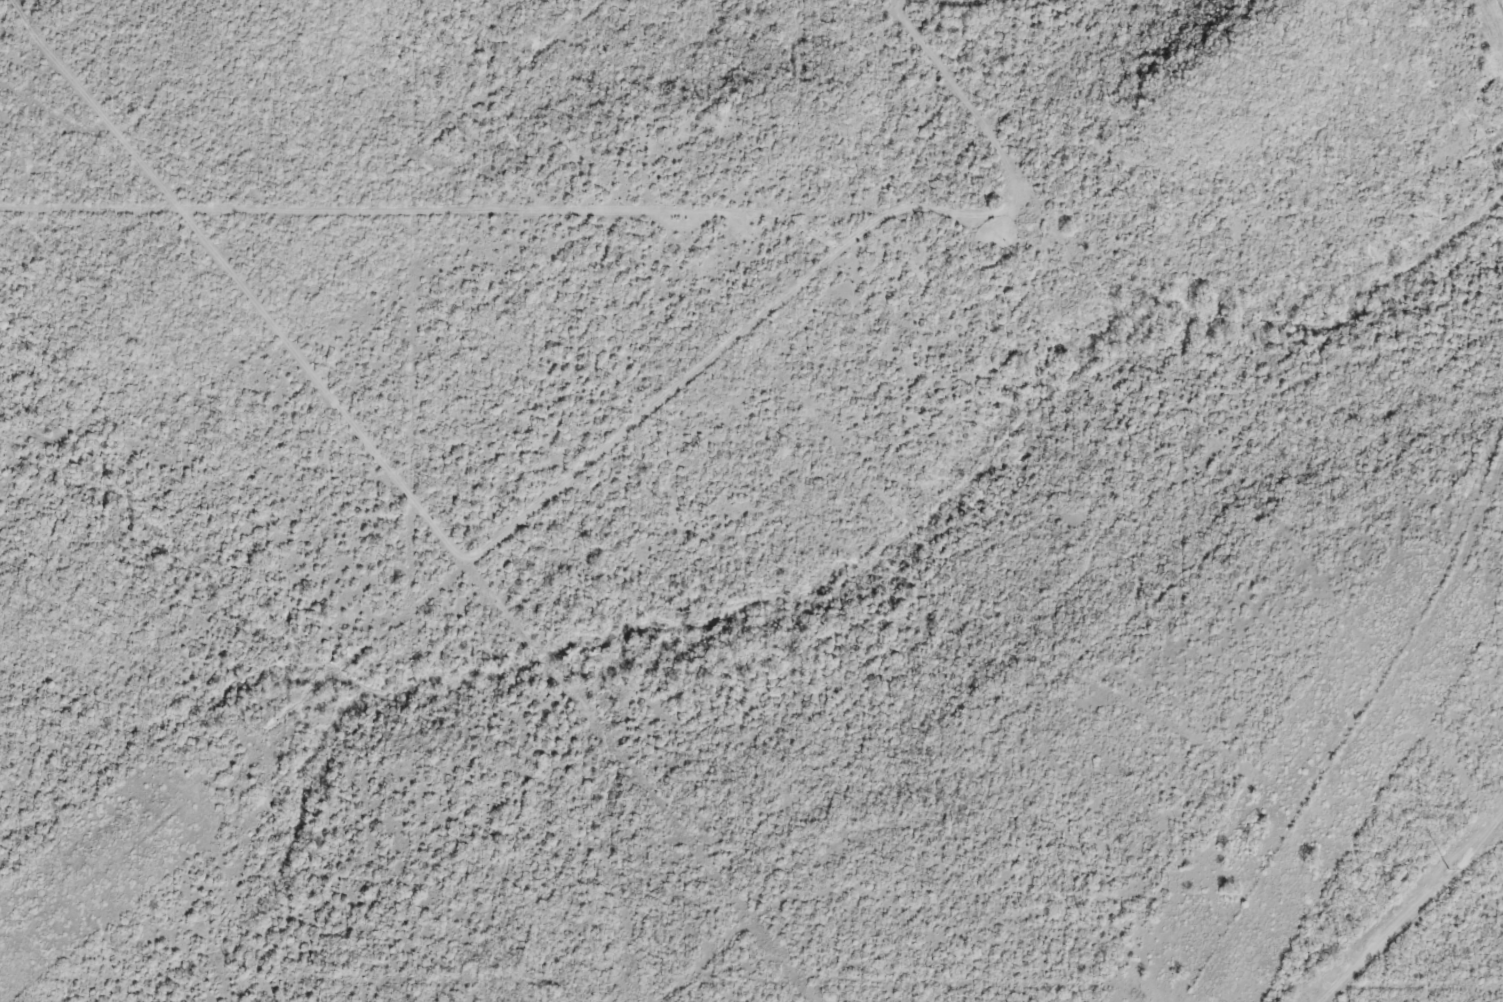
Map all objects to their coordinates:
power tower: (1448, 869)

